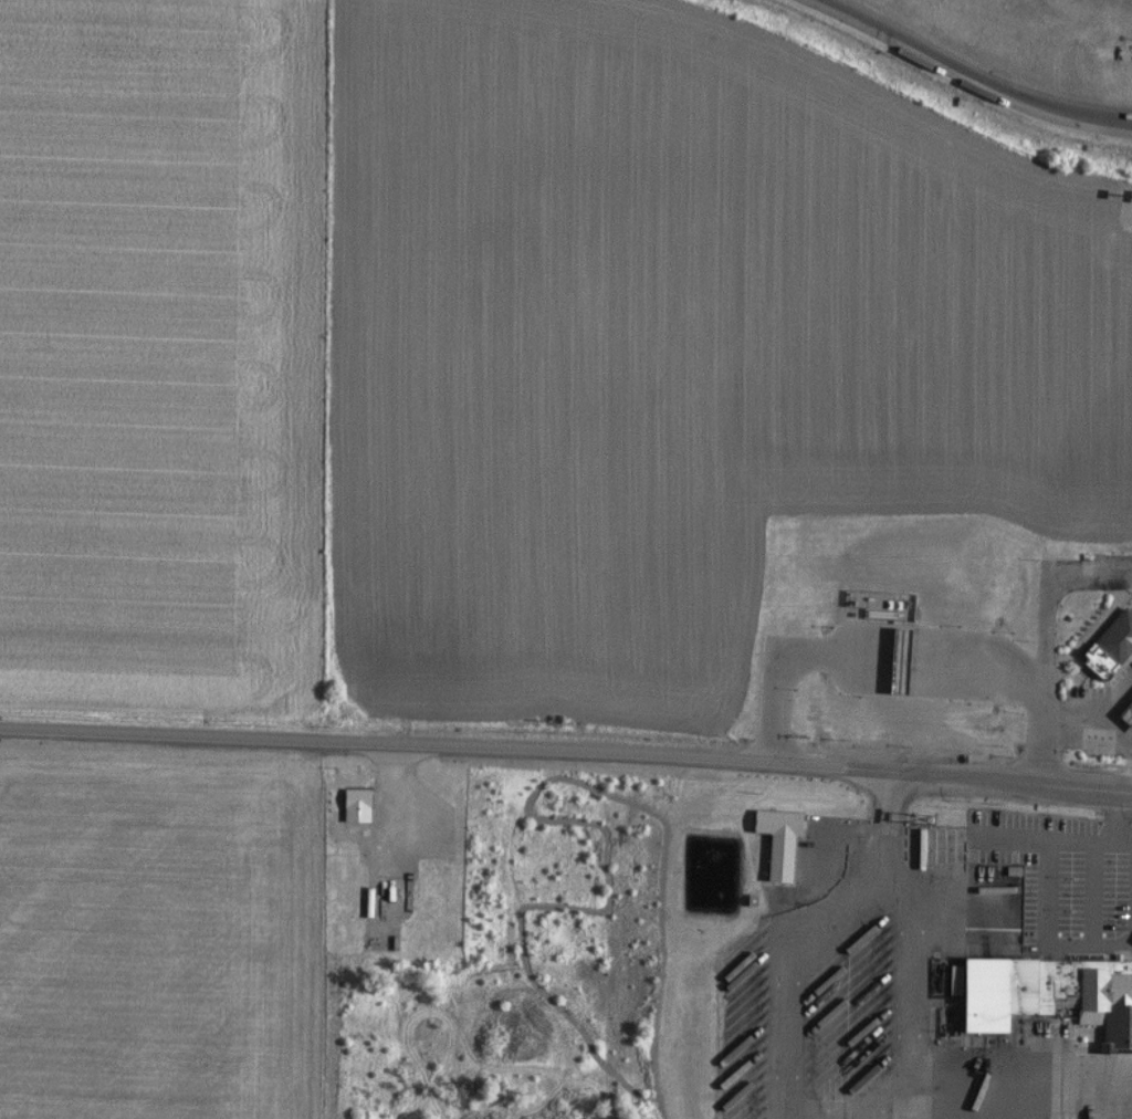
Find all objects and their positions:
road: (967, 76)
crop: (678, 349)
crop: (159, 358)
building: (884, 605)
road: (1045, 640)
building: (1111, 647)
gas station: (901, 660)
road: (1118, 697)
building: (1126, 714)
gas station: (1129, 714)
road: (1090, 715)
road: (566, 749)
building: (354, 804)
building: (779, 840)
road: (990, 843)
road: (1124, 849)
road: (977, 935)
building: (1050, 998)
road: (1066, 1091)

